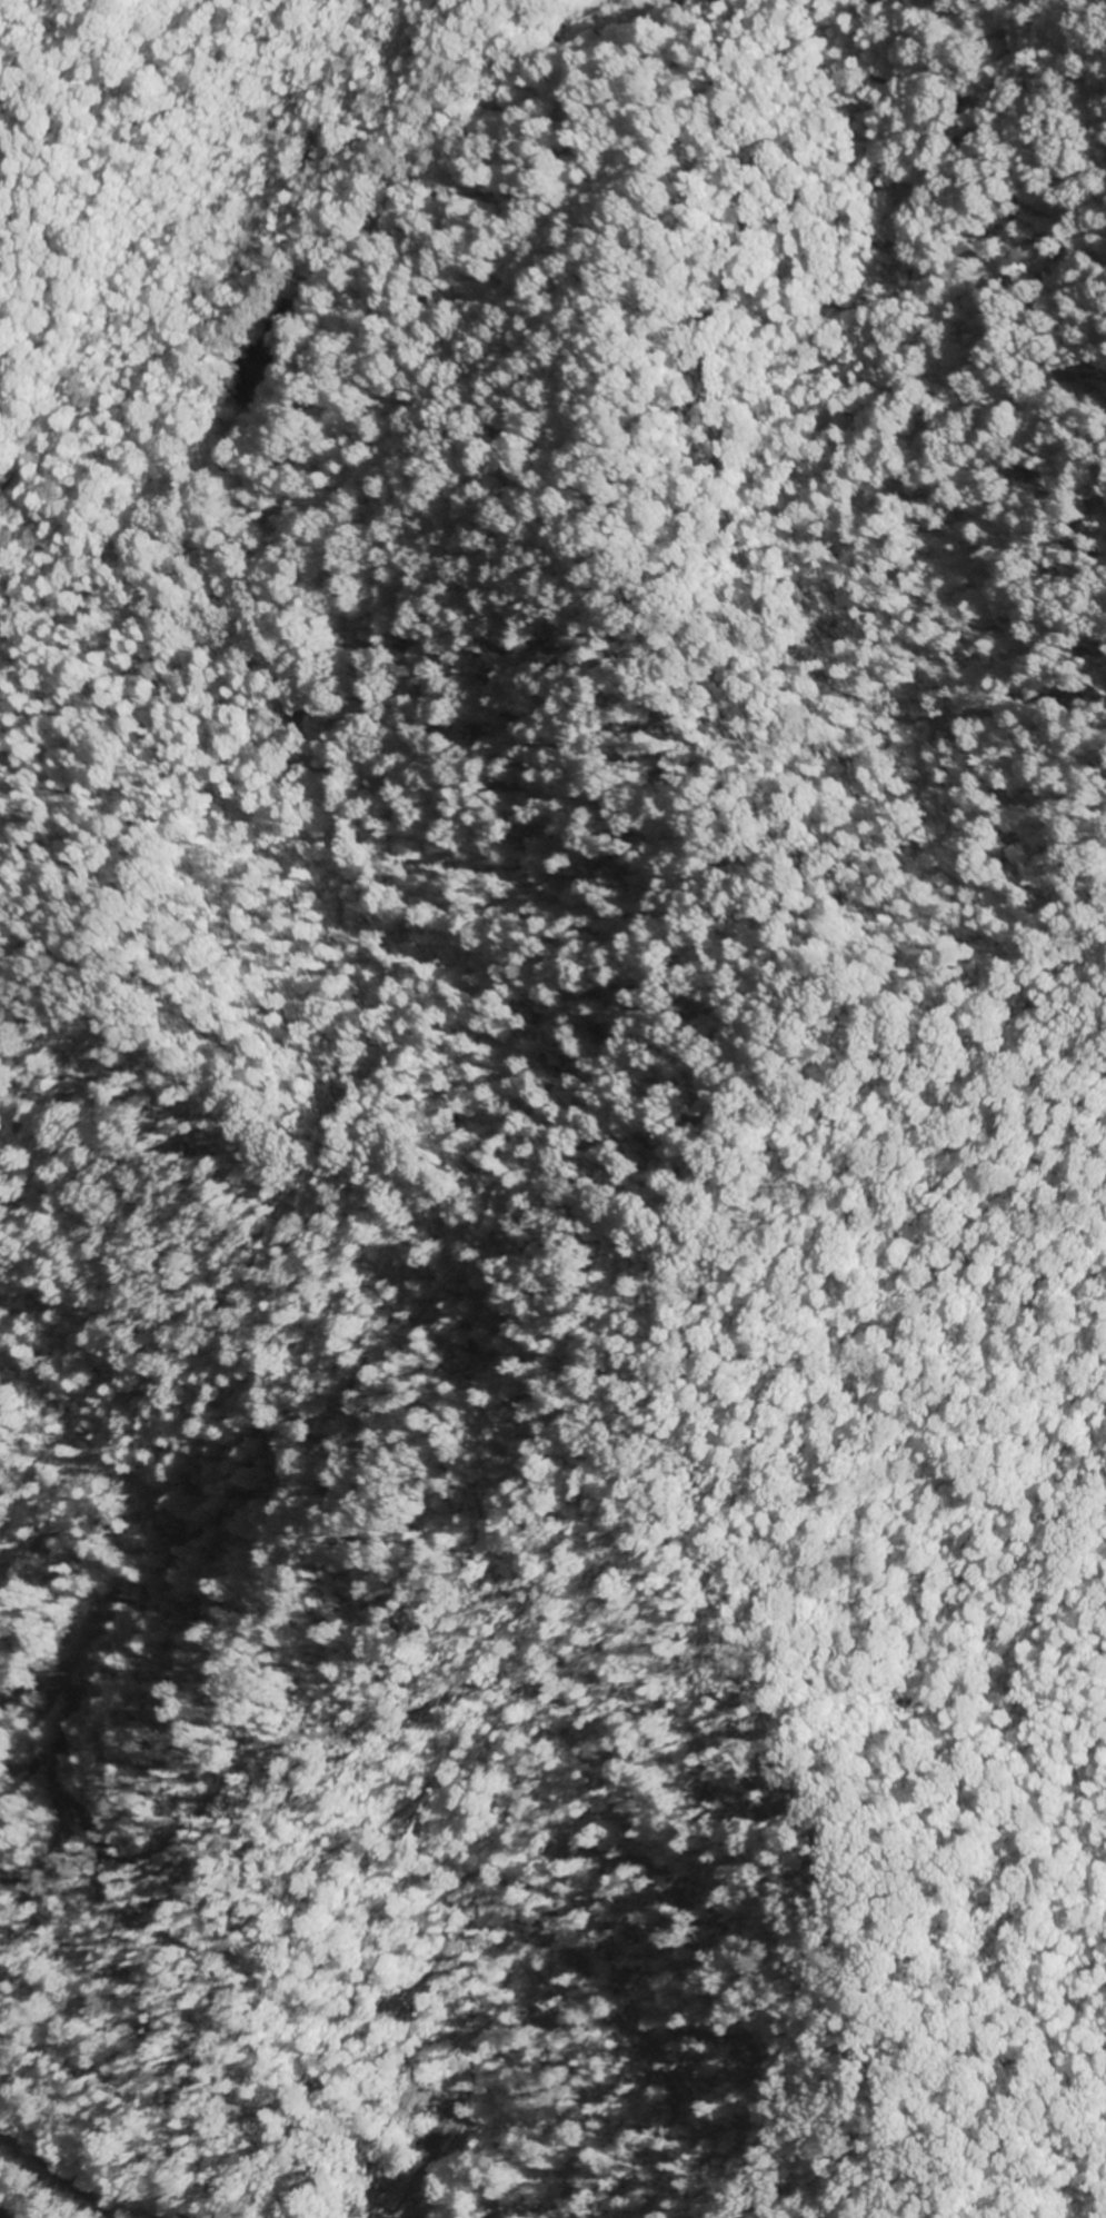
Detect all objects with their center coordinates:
road: (53, 2174)

